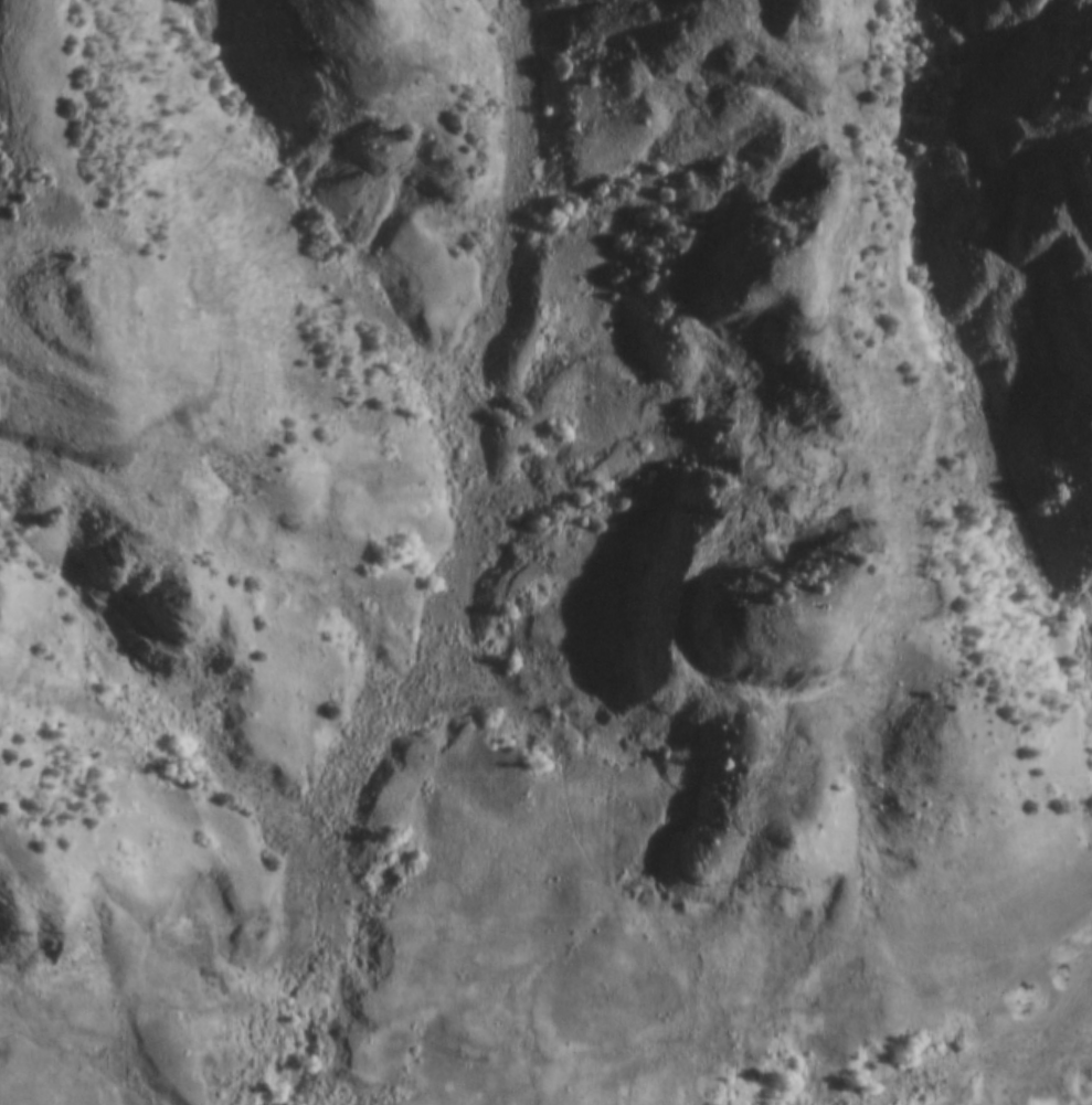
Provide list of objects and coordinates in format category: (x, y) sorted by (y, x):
road: (613, 1055)

